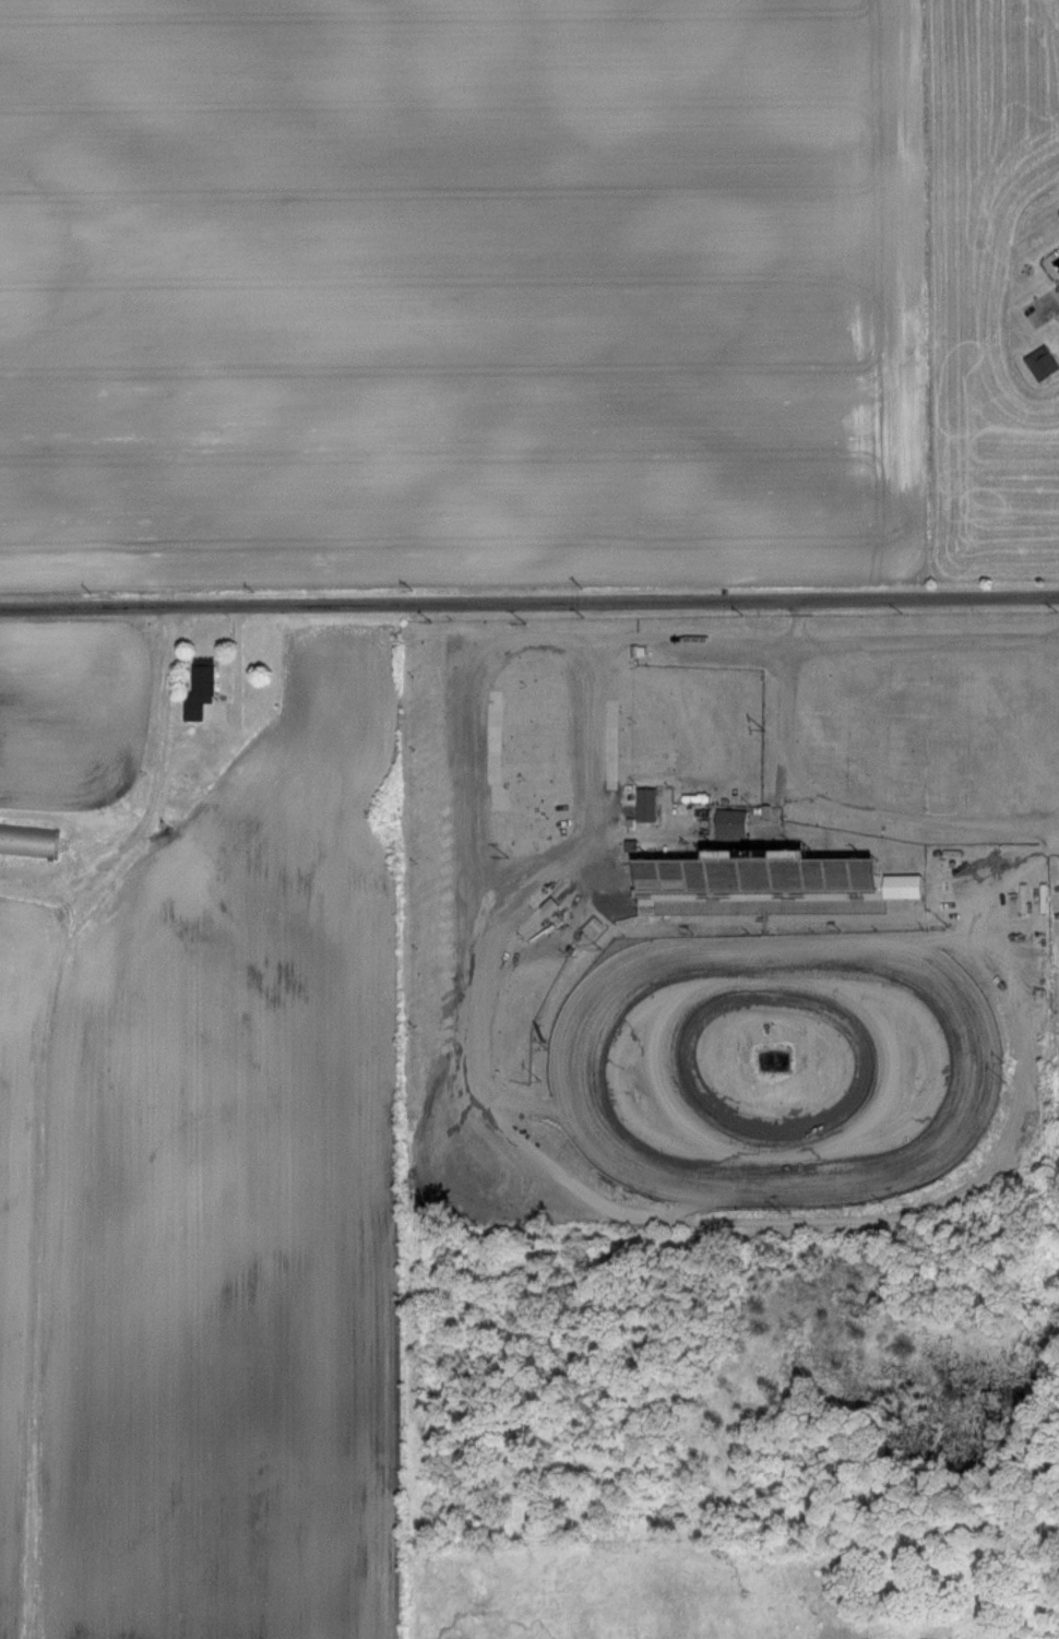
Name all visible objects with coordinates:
crop: (462, 296)
road: (1058, 316)
road: (529, 604)
building: (209, 680)
road: (159, 733)
building: (188, 791)
building: (649, 806)
road: (835, 810)
building: (723, 832)
building: (4, 839)
building: (911, 888)

